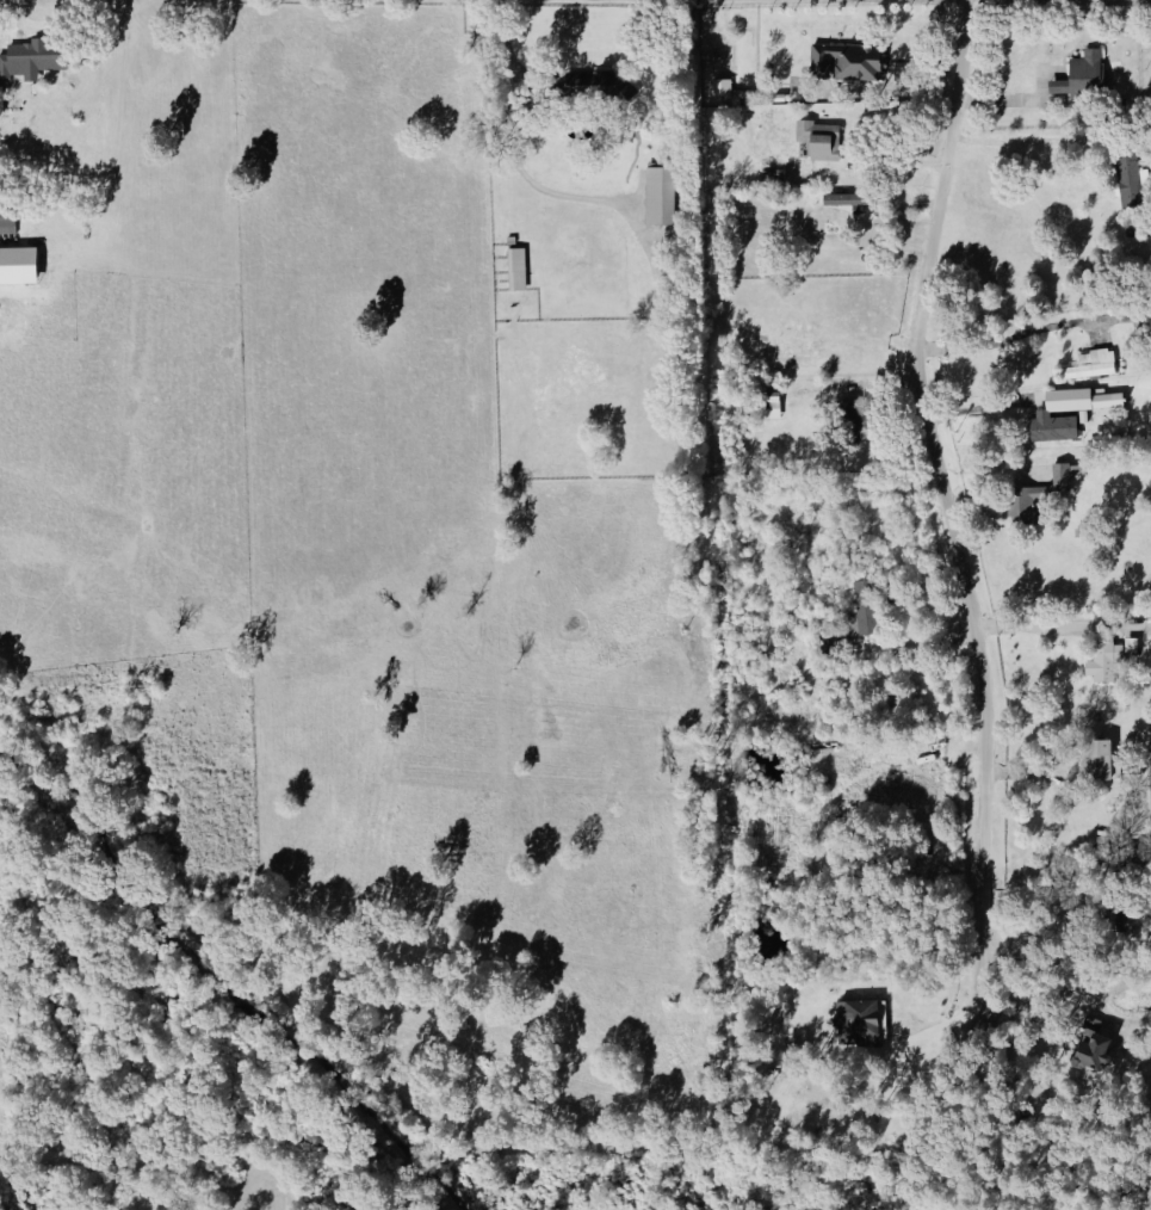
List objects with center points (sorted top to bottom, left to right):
road: (506, 47)
building: (33, 57)
building: (846, 62)
building: (1081, 76)
road: (1021, 140)
building: (821, 141)
building: (1128, 180)
building: (660, 197)
building: (847, 203)
building: (7, 224)
building: (516, 270)
road: (1021, 333)
building: (1093, 364)
building: (772, 406)
building: (1069, 412)
building: (854, 420)
building: (1025, 504)
road: (946, 505)
building: (862, 610)
road: (1033, 626)
building: (1103, 661)
building: (1096, 759)
river: (228, 987)
building: (858, 1021)
road: (935, 1030)
building: (1093, 1045)

